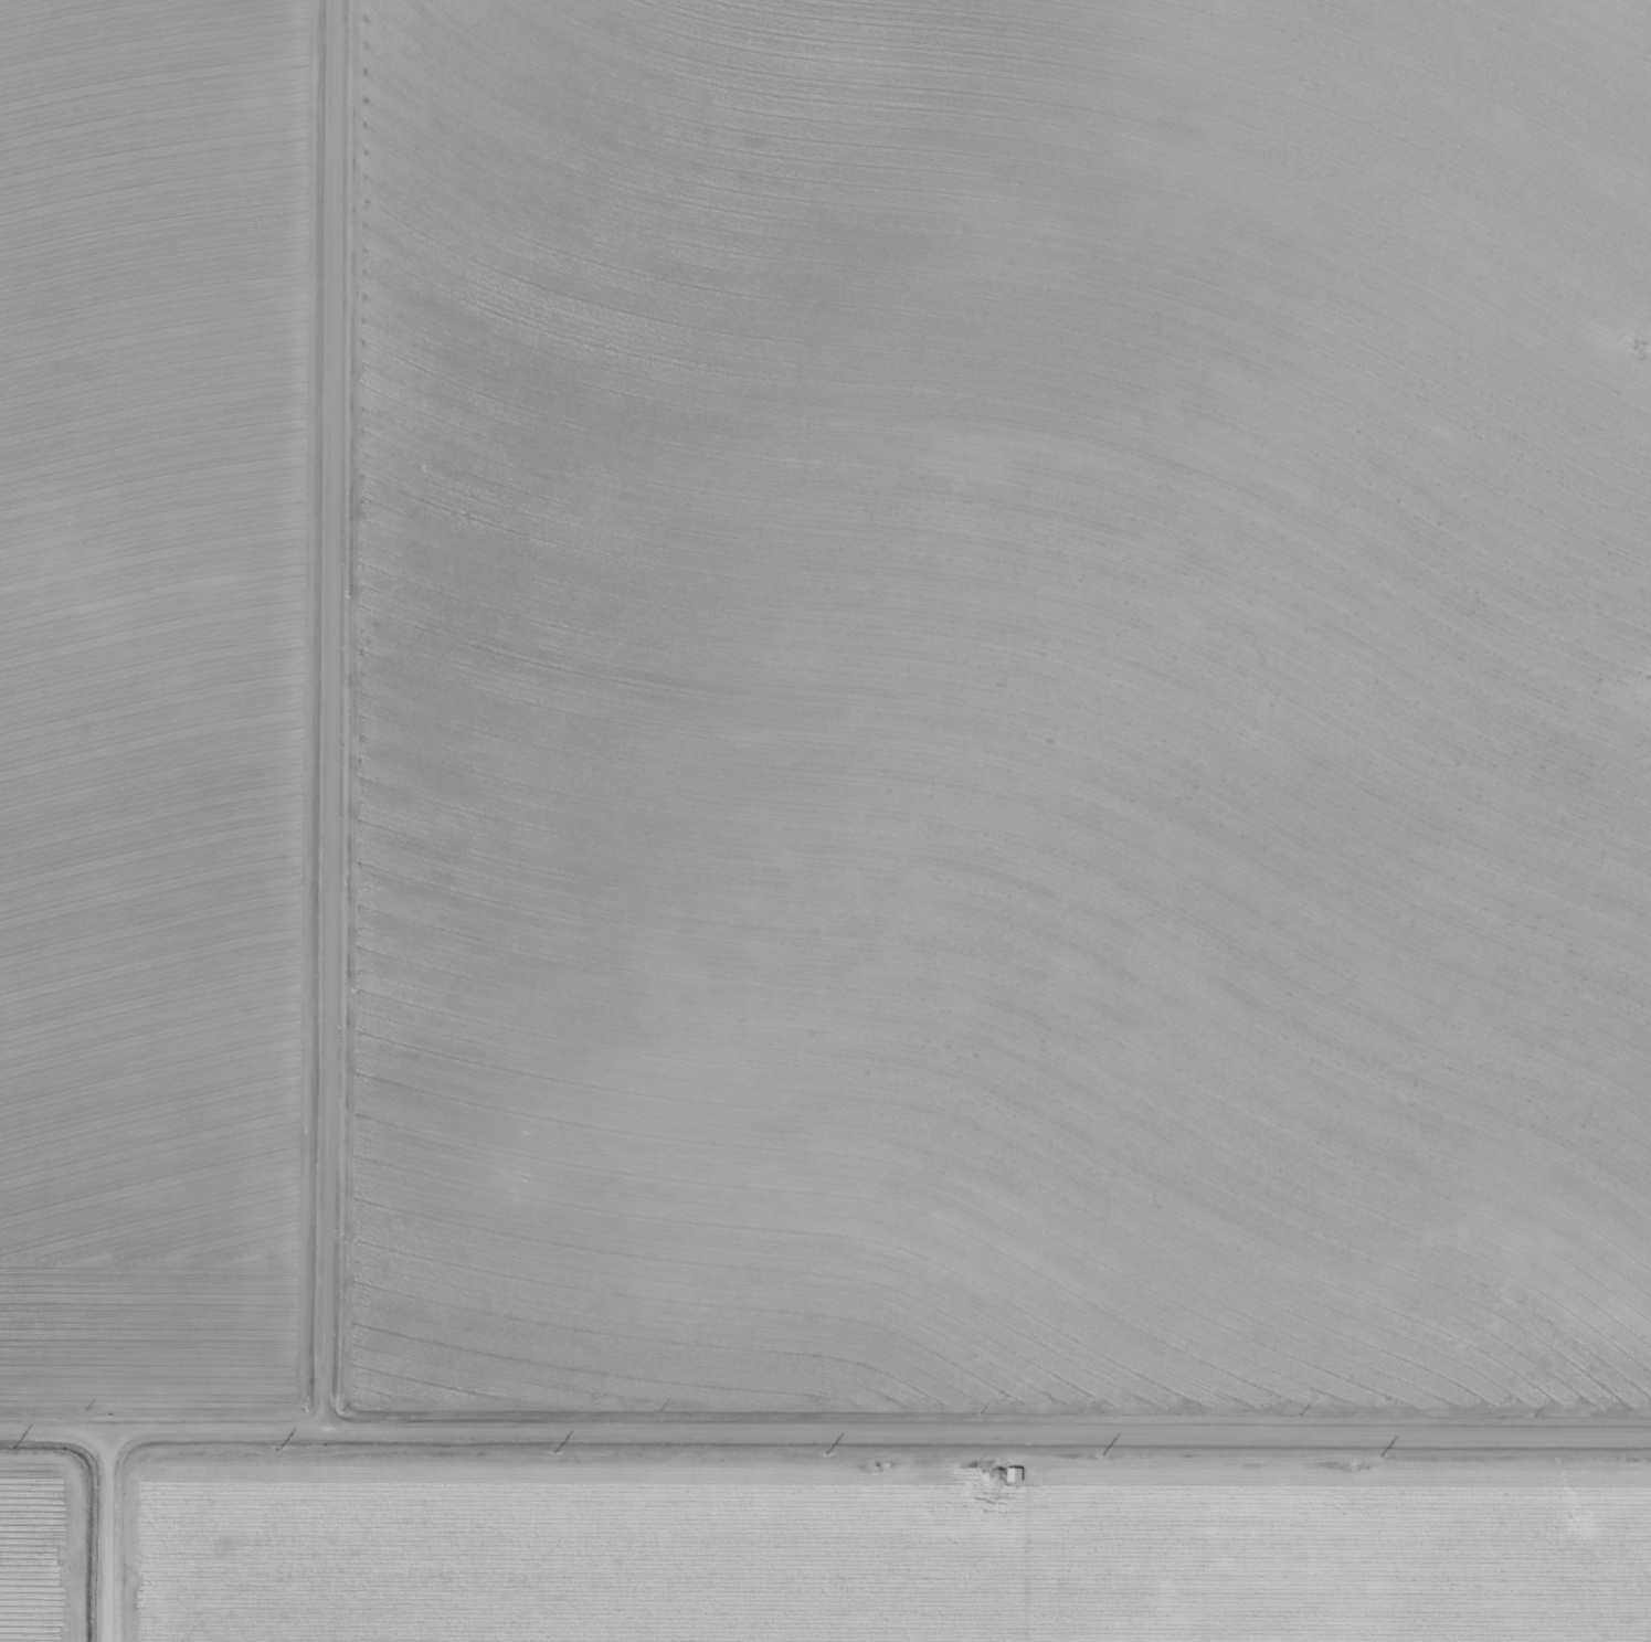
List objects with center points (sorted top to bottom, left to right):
road: (335, 717)
road: (825, 1437)
road: (109, 1538)

